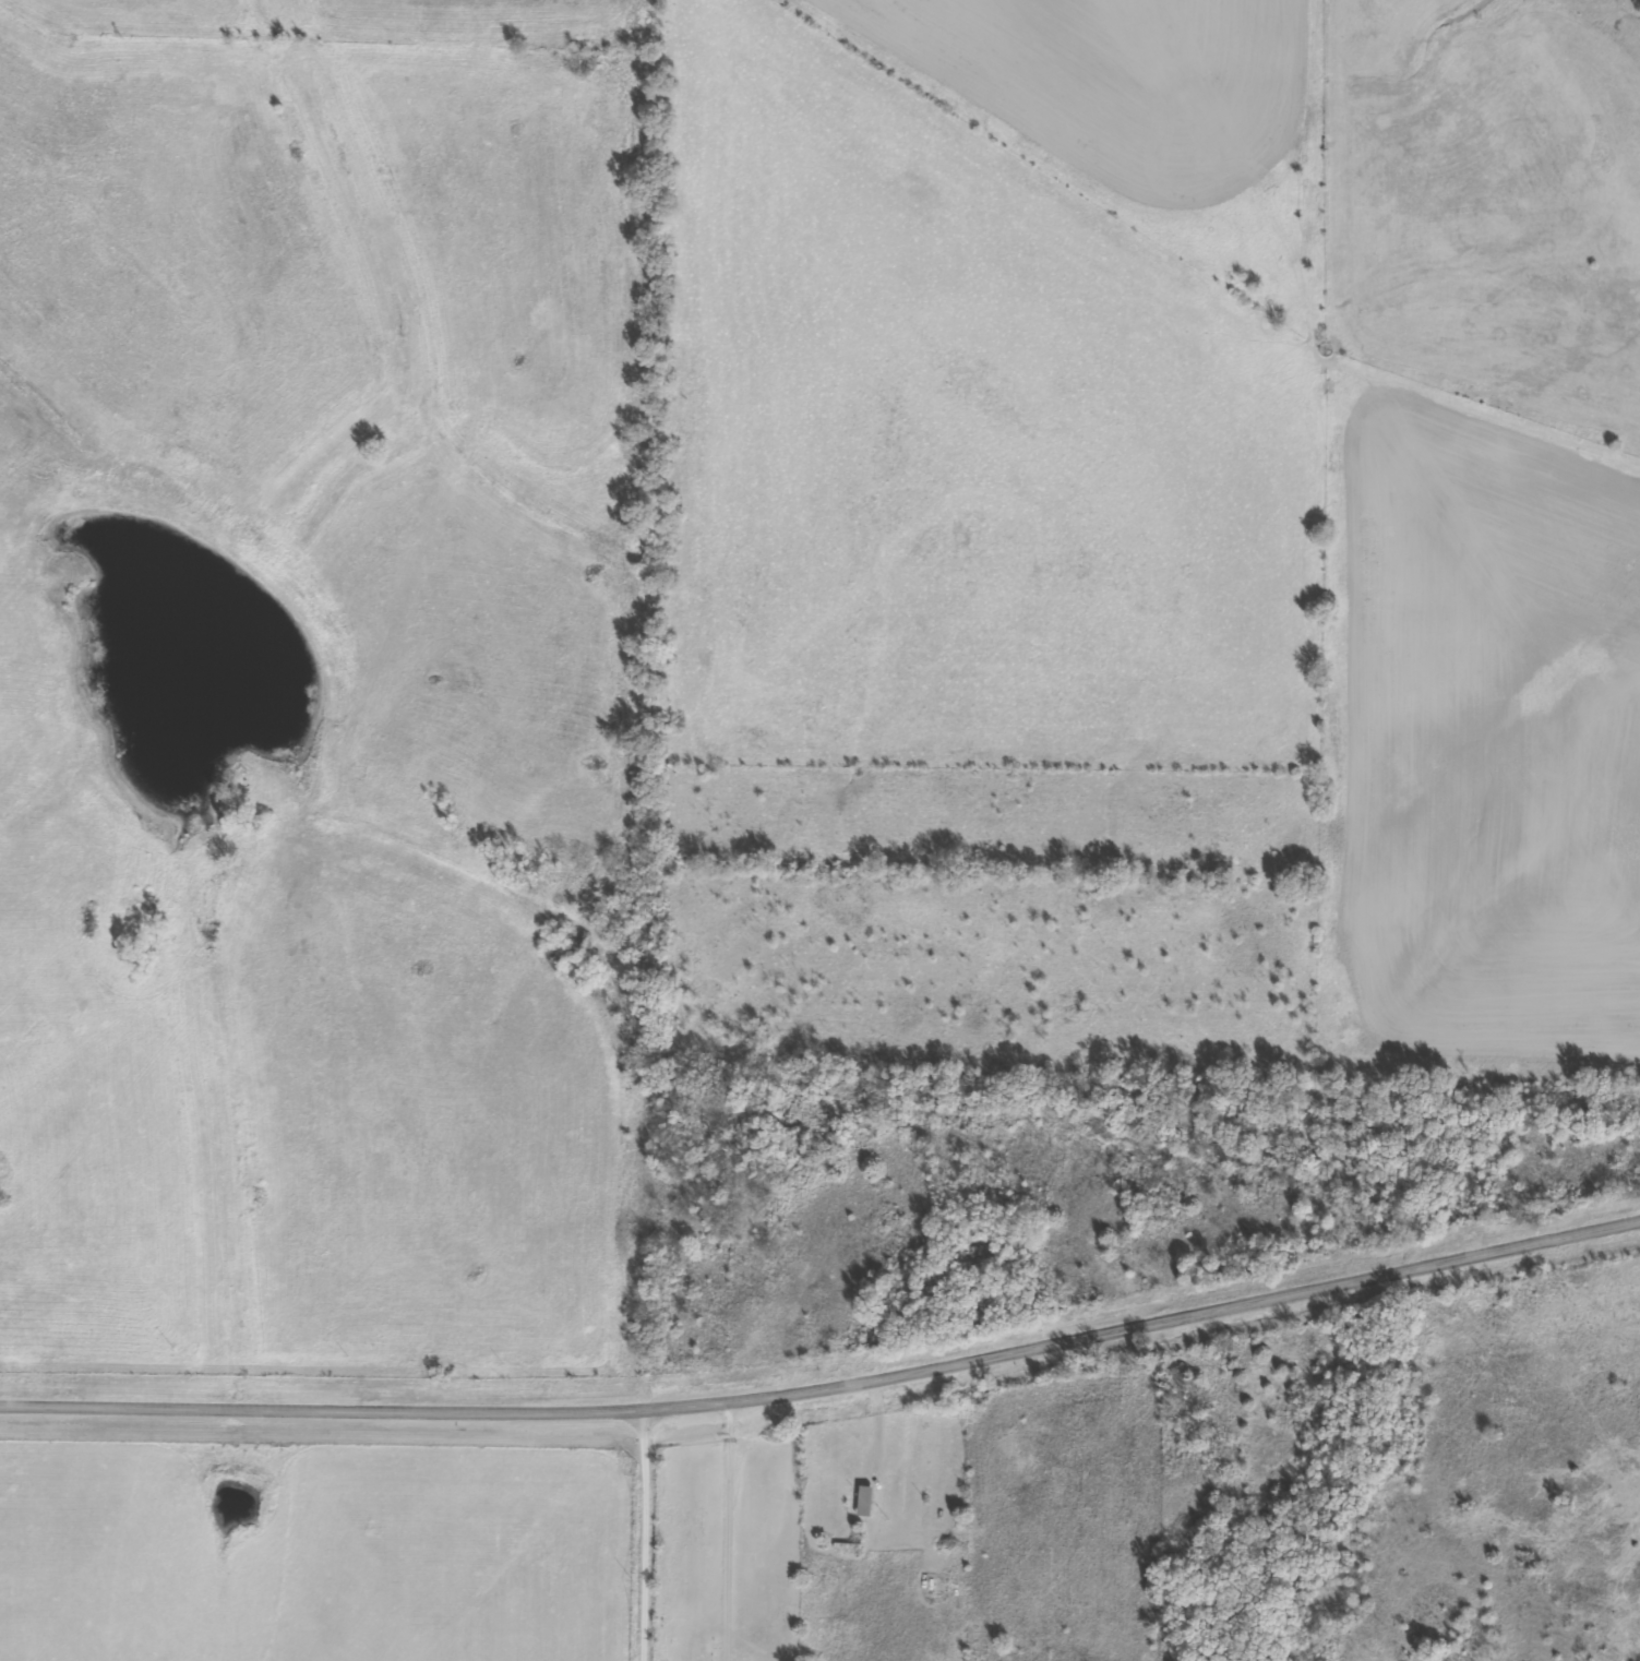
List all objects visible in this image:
road: (827, 1389)
building: (866, 1499)
road: (631, 1535)
park: (728, 1549)

